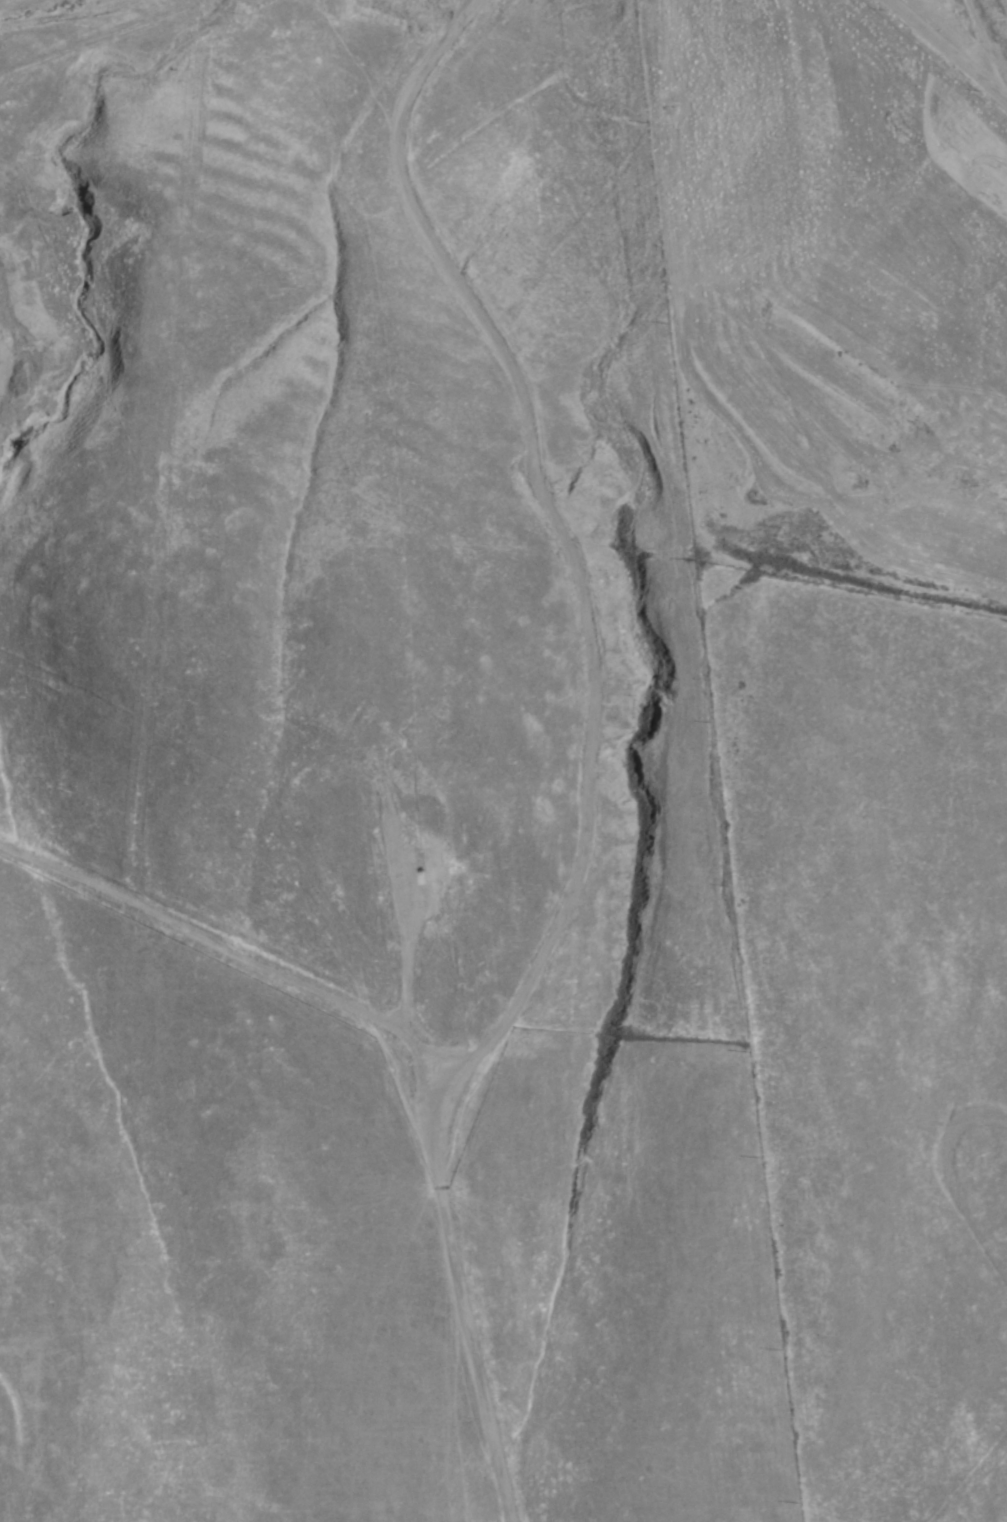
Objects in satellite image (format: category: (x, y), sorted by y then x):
road: (63, 15)
road: (986, 46)
road: (944, 52)
road: (615, 762)
quarry: (363, 792)
road: (227, 997)

